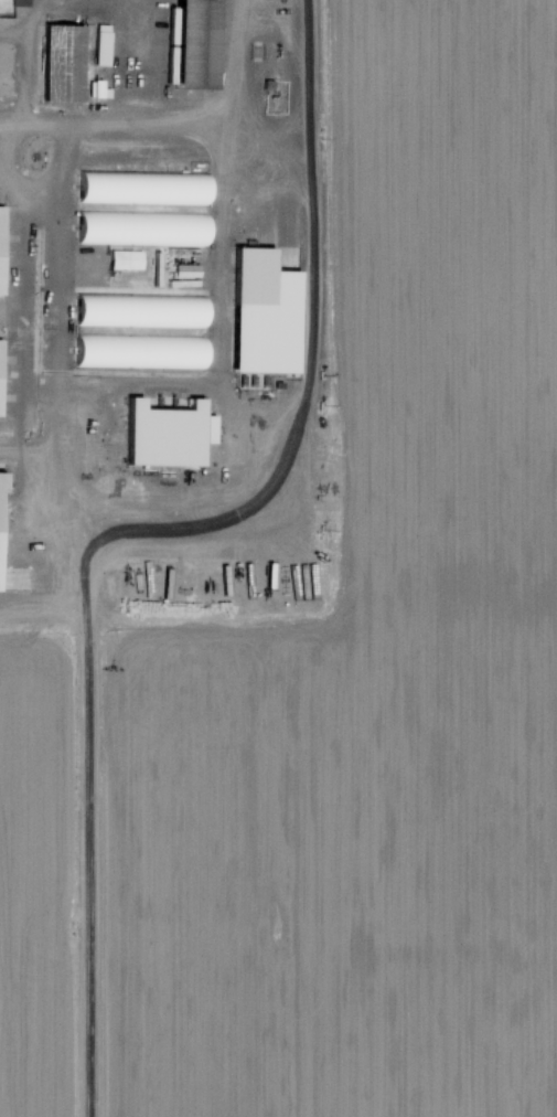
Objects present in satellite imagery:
building: (192, 43)
building: (61, 60)
building: (142, 184)
building: (141, 227)
building: (2, 254)
building: (138, 310)
building: (261, 313)
building: (139, 353)
building: (164, 434)

